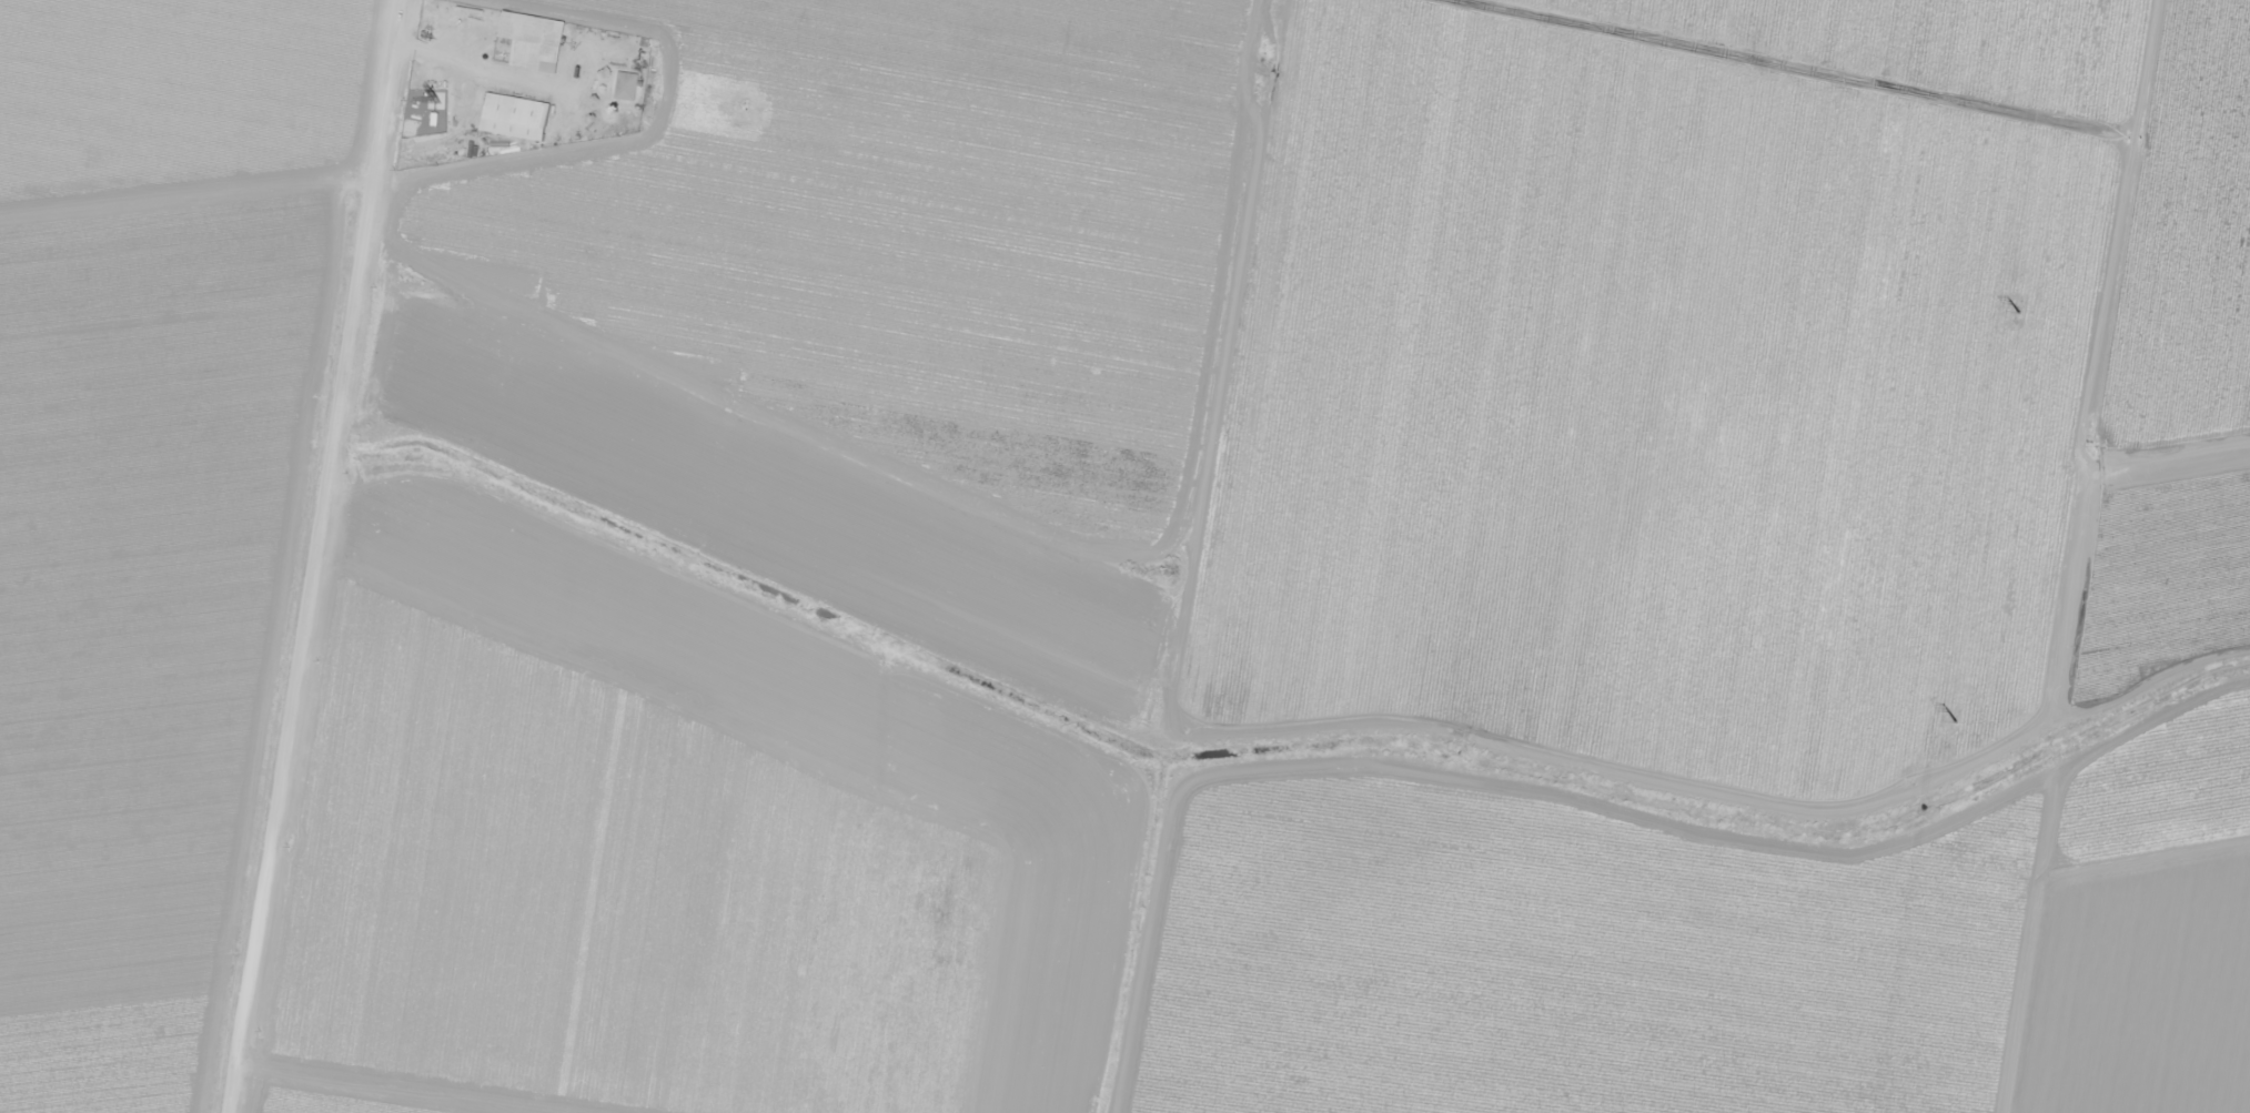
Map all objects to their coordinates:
building: (528, 41)
building: (625, 85)
building: (515, 115)
power tower: (2019, 312)
road: (321, 556)
power tower: (1956, 722)
road: (384, 1096)

